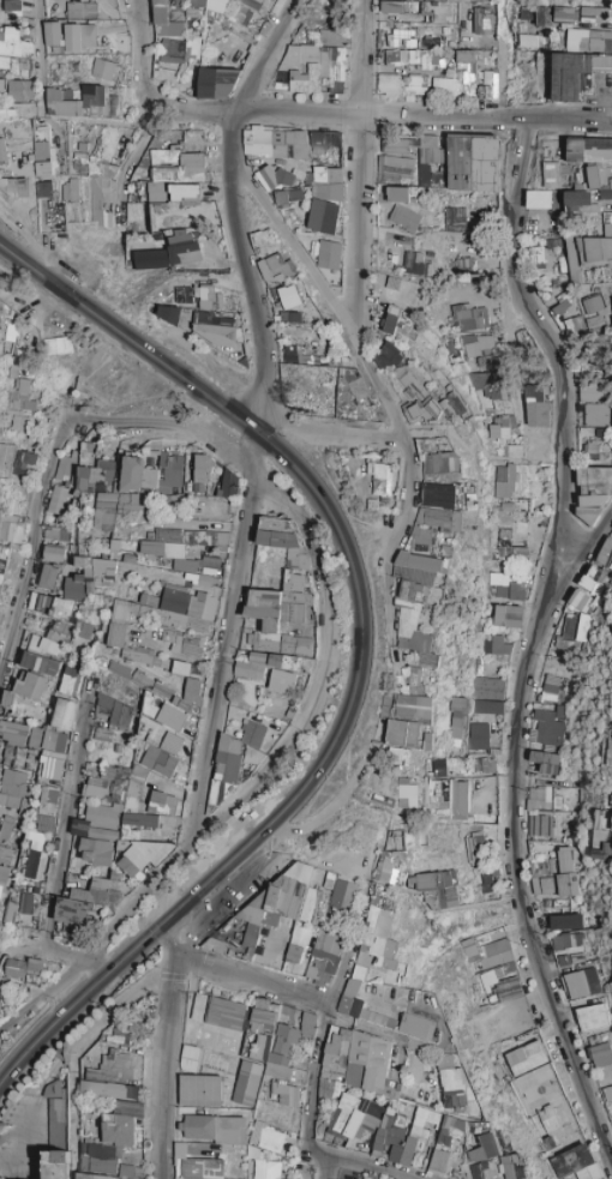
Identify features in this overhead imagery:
building: (457, 0)
building: (194, 2)
building: (251, 4)
building: (12, 5)
building: (215, 5)
building: (80, 10)
building: (412, 10)
building: (526, 12)
building: (240, 13)
building: (563, 14)
building: (594, 14)
building: (542, 17)
building: (481, 20)
road: (38, 34)
building: (52, 34)
building: (79, 36)
building: (330, 37)
building: (572, 38)
building: (13, 41)
building: (175, 49)
road: (137, 53)
road: (260, 54)
building: (410, 59)
building: (14, 65)
building: (103, 68)
building: (312, 68)
building: (576, 74)
building: (456, 77)
building: (216, 82)
building: (400, 84)
building: (487, 85)
building: (19, 90)
building: (80, 102)
building: (274, 143)
building: (324, 143)
building: (394, 150)
building: (589, 150)
building: (163, 155)
building: (42, 158)
building: (84, 163)
building: (472, 163)
building: (394, 166)
building: (326, 174)
building: (424, 174)
building: (554, 174)
building: (594, 176)
building: (161, 178)
building: (271, 178)
building: (14, 186)
building: (44, 188)
building: (68, 191)
building: (184, 192)
building: (326, 192)
building: (395, 193)
building: (605, 194)
building: (288, 196)
building: (538, 199)
building: (577, 200)
building: (98, 201)
building: (130, 211)
building: (322, 216)
building: (403, 217)
building: (452, 218)
building: (607, 224)
building: (182, 253)
building: (328, 254)
building: (533, 254)
building: (587, 254)
building: (149, 259)
building: (415, 264)
building: (462, 266)
building: (272, 267)
building: (400, 289)
building: (182, 295)
building: (289, 296)
building: (208, 297)
building: (559, 307)
building: (592, 312)
building: (167, 313)
building: (467, 317)
building: (0, 319)
building: (397, 325)
building: (7, 332)
building: (215, 332)
building: (56, 345)
building: (479, 348)
building: (451, 351)
building: (599, 353)
building: (385, 355)
building: (16, 366)
building: (412, 386)
building: (491, 387)
building: (356, 389)
building: (590, 392)
building: (18, 407)
building: (535, 407)
building: (433, 408)
building: (412, 413)
building: (594, 414)
building: (500, 426)
building: (594, 446)
building: (511, 450)
building: (24, 459)
building: (444, 464)
building: (64, 469)
building: (199, 473)
building: (151, 474)
building: (91, 475)
building: (379, 479)
building: (0, 480)
building: (503, 481)
building: (228, 483)
building: (595, 486)
building: (439, 495)
building: (55, 499)
building: (128, 505)
building: (371, 505)
building: (506, 507)
building: (102, 511)
building: (443, 519)
building: (10, 528)
building: (420, 533)
building: (54, 534)
building: (167, 534)
building: (206, 537)
building: (281, 541)
building: (508, 545)
building: (161, 548)
building: (52, 553)
building: (605, 553)
building: (192, 564)
building: (83, 565)
building: (416, 565)
building: (102, 569)
building: (46, 576)
building: (206, 581)
building: (71, 587)
building: (504, 587)
building: (578, 600)
building: (38, 602)
building: (0, 606)
building: (60, 608)
building: (161, 612)
building: (508, 615)
building: (278, 616)
building: (415, 621)
building: (568, 625)
building: (56, 631)
building: (184, 643)
building: (42, 645)
building: (498, 645)
building: (149, 658)
building: (38, 663)
building: (262, 664)
building: (119, 669)
building: (281, 680)
building: (68, 681)
building: (485, 687)
building: (551, 687)
building: (191, 688)
building: (23, 694)
building: (180, 703)
building: (413, 705)
building: (485, 706)
building: (62, 714)
building: (118, 714)
building: (456, 717)
building: (156, 724)
building: (547, 727)
building: (401, 733)
building: (101, 735)
building: (475, 735)
building: (424, 736)
building: (17, 739)
building: (169, 744)
building: (610, 747)
building: (52, 753)
building: (234, 757)
building: (157, 760)
building: (544, 762)
building: (482, 765)
building: (437, 766)
building: (10, 788)
building: (97, 798)
building: (46, 808)

